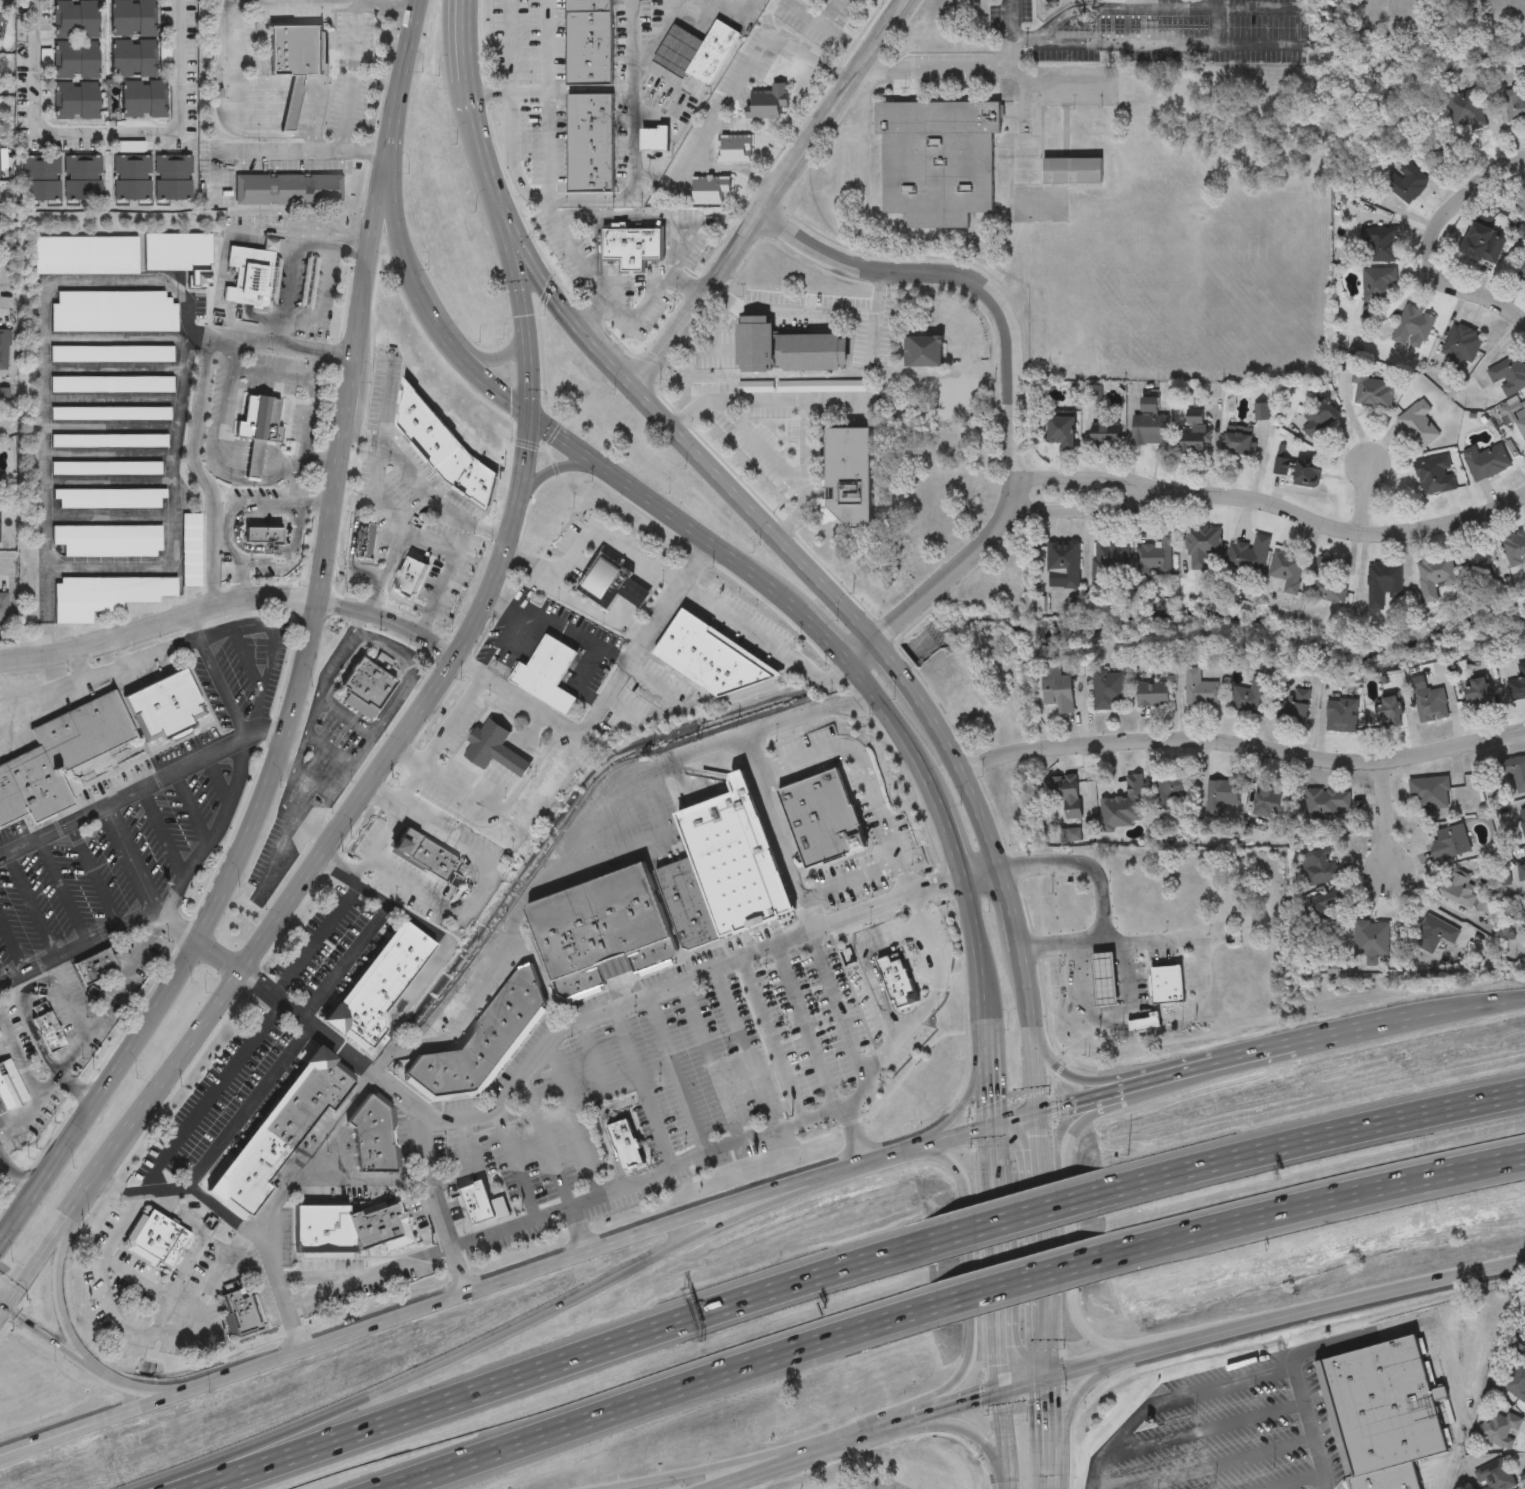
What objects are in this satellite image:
road: (335, 0)
road: (361, 1)
building: (1404, 1)
building: (75, 19)
building: (132, 19)
building: (1521, 37)
road: (464, 39)
building: (590, 42)
road: (1137, 44)
road: (510, 47)
building: (297, 50)
road: (234, 53)
building: (699, 53)
building: (75, 59)
building: (133, 59)
road: (972, 66)
road: (181, 68)
road: (354, 77)
road: (1056, 84)
road: (468, 88)
building: (144, 99)
road: (727, 99)
building: (75, 100)
road: (293, 103)
building: (770, 103)
road: (262, 104)
building: (1515, 107)
building: (1467, 111)
road: (314, 121)
road: (45, 127)
road: (389, 140)
building: (655, 140)
building: (591, 144)
road: (808, 144)
building: (736, 150)
road: (298, 151)
road: (482, 157)
building: (938, 162)
building: (1072, 172)
building: (42, 178)
building: (83, 178)
building: (132, 178)
building: (172, 178)
building: (1407, 183)
building: (289, 191)
building: (710, 191)
road: (604, 198)
road: (346, 235)
building: (1380, 243)
building: (1485, 244)
road: (1429, 246)
building: (632, 247)
road: (343, 250)
building: (87, 256)
building: (181, 257)
building: (256, 265)
building: (1520, 269)
traffic signals: (541, 284)
building: (1379, 285)
road: (612, 308)
road: (691, 308)
building: (114, 313)
road: (427, 314)
road: (524, 314)
road: (810, 314)
road: (593, 318)
traffic signals: (525, 321)
road: (288, 324)
building: (1414, 329)
building: (6, 336)
road: (250, 339)
road: (872, 341)
building: (755, 345)
building: (1464, 345)
road: (701, 350)
building: (926, 352)
building: (812, 354)
building: (114, 356)
road: (498, 357)
road: (654, 359)
road: (259, 370)
road: (1010, 371)
building: (1508, 376)
building: (113, 386)
building: (1374, 392)
road: (804, 404)
road: (45, 405)
building: (1150, 406)
building: (1523, 406)
building: (1262, 412)
building: (112, 414)
traffic signals: (522, 416)
building: (1320, 419)
road: (309, 420)
road: (221, 424)
building: (1419, 426)
building: (1521, 428)
building: (1150, 430)
building: (1061, 431)
building: (258, 432)
road: (675, 434)
building: (1105, 435)
building: (1196, 437)
building: (110, 443)
building: (1238, 445)
road: (175, 448)
road: (759, 448)
building: (443, 450)
building: (1487, 462)
road: (254, 463)
road: (282, 464)
building: (1283, 467)
building: (106, 470)
road: (203, 473)
road: (553, 473)
building: (1308, 474)
building: (1436, 475)
building: (849, 477)
road: (1082, 477)
road: (620, 481)
road: (418, 487)
building: (0, 488)
road: (1363, 498)
building: (109, 499)
road: (233, 505)
road: (313, 506)
road: (1083, 511)
road: (1337, 529)
building: (263, 536)
road: (587, 539)
road: (460, 540)
building: (108, 542)
building: (364, 544)
building: (1203, 544)
building: (1515, 549)
building: (191, 552)
road: (288, 555)
building: (1249, 557)
building: (1156, 559)
building: (1109, 561)
building: (1065, 563)
road: (8, 564)
building: (1288, 570)
building: (1478, 570)
road: (446, 573)
building: (1435, 577)
road: (389, 578)
road: (242, 580)
building: (1332, 580)
building: (409, 582)
building: (610, 582)
building: (1385, 585)
road: (523, 595)
building: (106, 597)
road: (227, 606)
building: (4, 607)
road: (354, 622)
road: (558, 623)
road: (646, 634)
road: (824, 637)
road: (348, 638)
road: (764, 644)
road: (495, 645)
road: (859, 652)
building: (711, 658)
road: (127, 662)
road: (895, 671)
building: (545, 672)
road: (216, 679)
building: (365, 686)
building: (1518, 686)
building: (1199, 690)
building: (1110, 691)
building: (1058, 694)
building: (1479, 695)
road: (41, 696)
road: (517, 696)
building: (1153, 696)
building: (1249, 698)
building: (1432, 706)
building: (165, 707)
building: (1294, 709)
road: (288, 713)
building: (1390, 713)
building: (1342, 716)
road: (453, 721)
road: (896, 726)
building: (494, 748)
road: (1242, 748)
building: (59, 756)
road: (420, 769)
road: (282, 771)
building: (1515, 772)
road: (865, 774)
road: (965, 782)
road: (334, 786)
building: (1170, 791)
building: (1431, 793)
road: (120, 796)
building: (1222, 796)
building: (1069, 800)
building: (1268, 801)
building: (1326, 803)
road: (280, 804)
road: (505, 806)
building: (1125, 807)
road: (1385, 816)
building: (822, 818)
parking lot: (141, 821)
building: (1522, 821)
road: (53, 827)
road: (384, 827)
road: (950, 837)
building: (1451, 844)
road: (782, 846)
road: (470, 848)
building: (425, 853)
building: (734, 859)
building: (1321, 870)
road: (93, 872)
building: (1522, 873)
road: (980, 874)
road: (300, 879)
road: (849, 879)
road: (412, 887)
road: (61, 888)
building: (1459, 890)
road: (1095, 897)
road: (162, 900)
road: (30, 902)
building: (688, 903)
road: (1010, 907)
building: (1323, 919)
building: (601, 932)
building: (1436, 935)
building: (1372, 942)
road: (11, 945)
road: (443, 949)
road: (975, 952)
road: (216, 954)
road: (345, 961)
road: (866, 964)
building: (95, 965)
road: (483, 970)
building: (1103, 977)
gas station: (1103, 977)
building: (896, 979)
building: (1166, 982)
building: (378, 989)
road: (111, 996)
road: (919, 1009)
road: (1116, 1012)
road: (1469, 1013)
building: (1144, 1023)
road: (814, 1024)
road: (568, 1026)
building: (46, 1027)
road: (1026, 1030)
road: (1366, 1031)
road: (777, 1036)
road: (249, 1043)
building: (480, 1043)
road: (743, 1048)
road: (1231, 1059)
road: (706, 1061)
road: (1063, 1068)
road: (990, 1073)
road: (669, 1075)
road: (1133, 1083)
building: (10, 1086)
road: (641, 1088)
road: (46, 1093)
road: (972, 1095)
road: (1078, 1100)
road: (248, 1108)
traffic signals: (1034, 1113)
road: (1013, 1118)
traffic signals: (993, 1123)
road: (1078, 1128)
road: (852, 1135)
road: (1316, 1138)
building: (281, 1139)
building: (372, 1139)
road: (993, 1141)
building: (625, 1145)
road: (704, 1149)
road: (911, 1149)
parking lot: (4, 1162)
road: (471, 1166)
road: (357, 1180)
road: (11, 1181)
road: (1321, 1200)
building: (476, 1205)
road: (1022, 1215)
road: (121, 1222)
road: (1039, 1226)
building: (348, 1231)
road: (251, 1234)
building: (159, 1240)
road: (464, 1241)
road: (390, 1267)
road: (997, 1276)
road: (1029, 1278)
road: (496, 1283)
road: (205, 1292)
road: (63, 1301)
road: (968, 1302)
road: (107, 1307)
road: (1, 1309)
traffic signals: (2, 1310)
road: (1, 1311)
building: (242, 1316)
road: (1283, 1319)
road: (45, 1339)
road: (488, 1341)
road: (1319, 1347)
road: (564, 1361)
building: (1516, 1382)
traffic signals: (1045, 1384)
road: (124, 1388)
traffic signals: (1001, 1393)
road: (662, 1394)
road: (959, 1404)
building: (1379, 1406)
road: (1070, 1408)
road: (1045, 1414)
road: (82, 1422)
road: (1305, 1427)
building: (1497, 1428)
road: (955, 1430)
road: (1203, 1430)
road: (854, 1435)
road: (1002, 1441)
road: (717, 1465)
road: (769, 1465)
road: (1222, 1465)
building: (1493, 1476)
building: (1385, 1478)
road: (1292, 1482)
road: (715, 1487)

